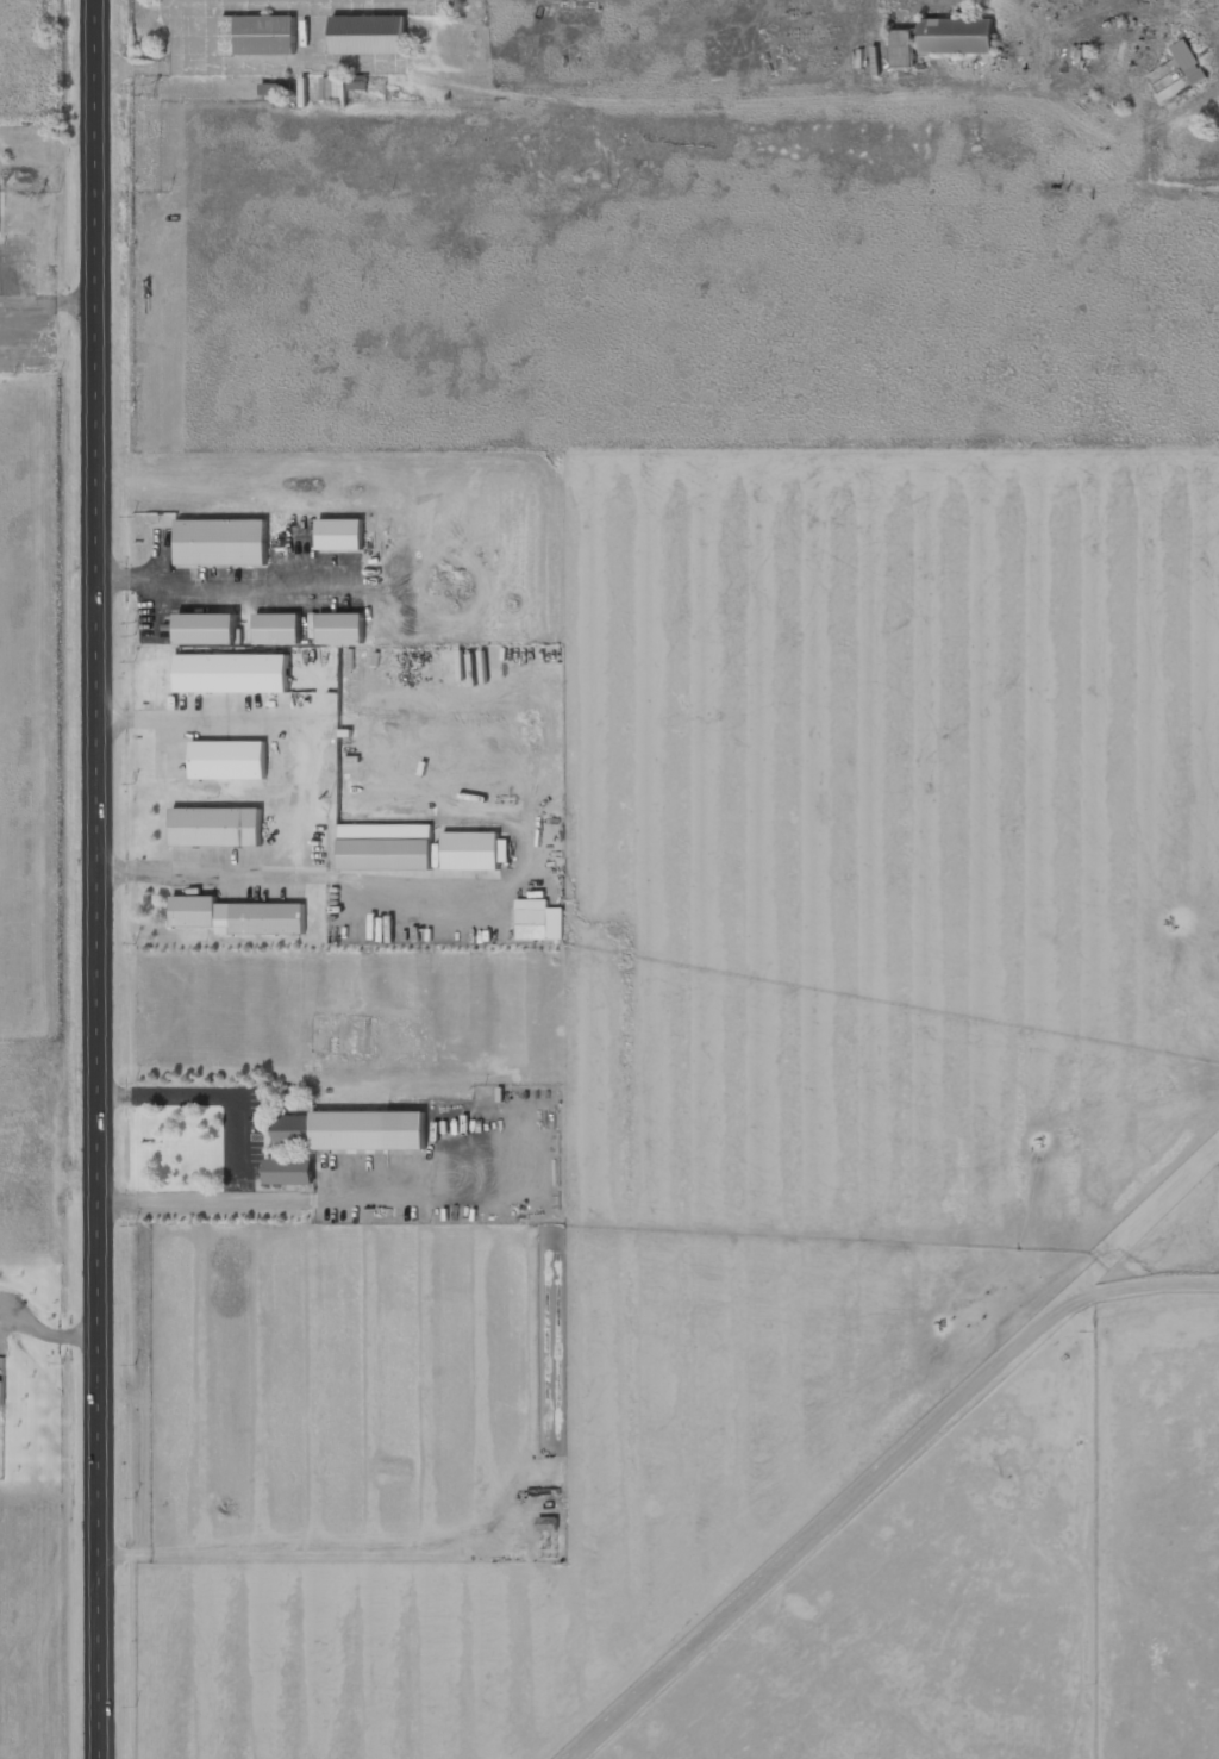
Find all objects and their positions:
building: (370, 35)
building: (260, 36)
building: (957, 37)
building: (902, 49)
building: (1189, 62)
building: (358, 83)
building: (335, 91)
building: (342, 535)
building: (223, 543)
building: (208, 629)
building: (279, 629)
building: (342, 629)
building: (233, 674)
building: (229, 760)
building: (217, 828)
building: (387, 848)
building: (475, 852)
road: (96, 879)
building: (239, 916)
building: (539, 921)
building: (352, 1130)
building: (290, 1172)
building: (2, 1392)
road: (867, 1480)

